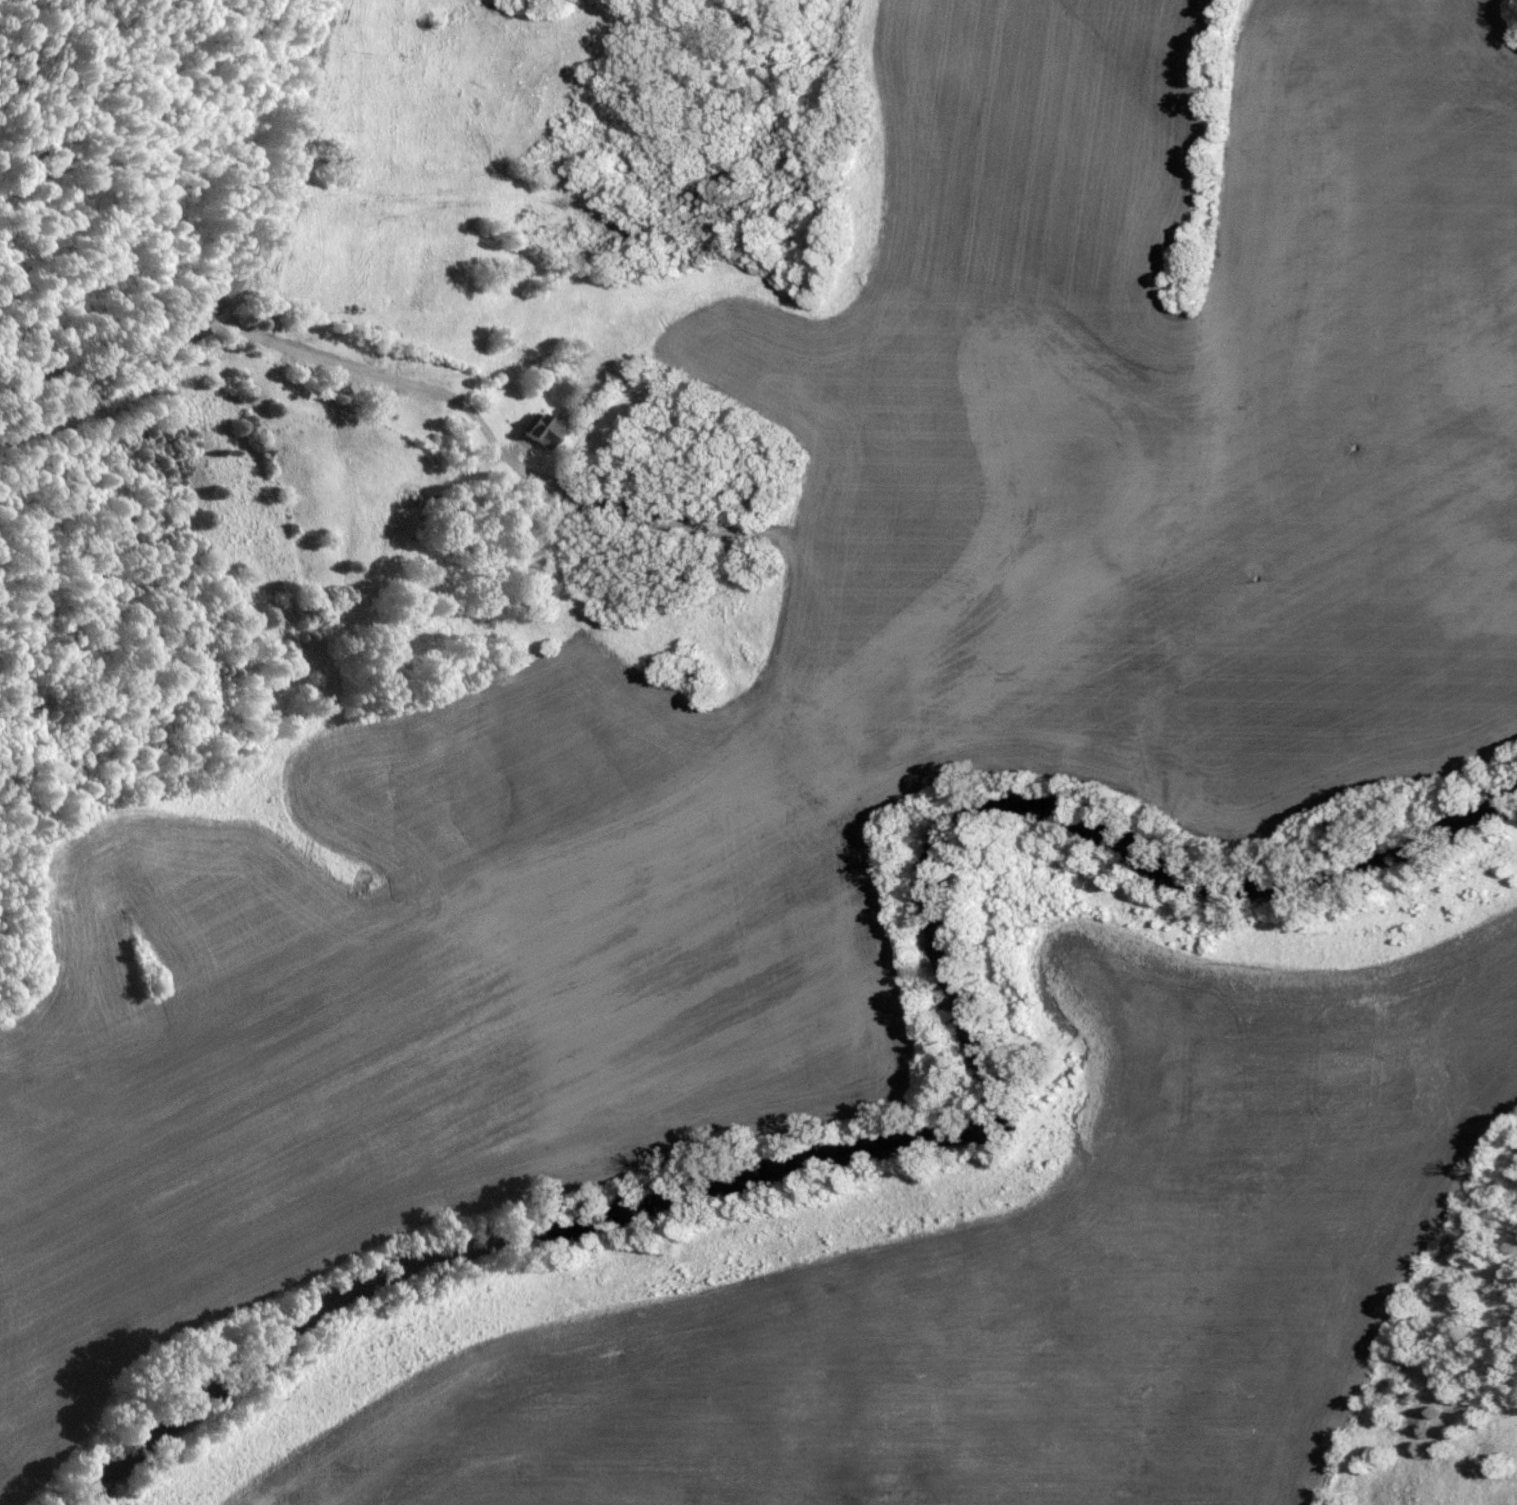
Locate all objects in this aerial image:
road: (245, 270)
road: (365, 369)
road: (494, 377)
building: (543, 430)
road: (489, 458)
river: (922, 1118)

